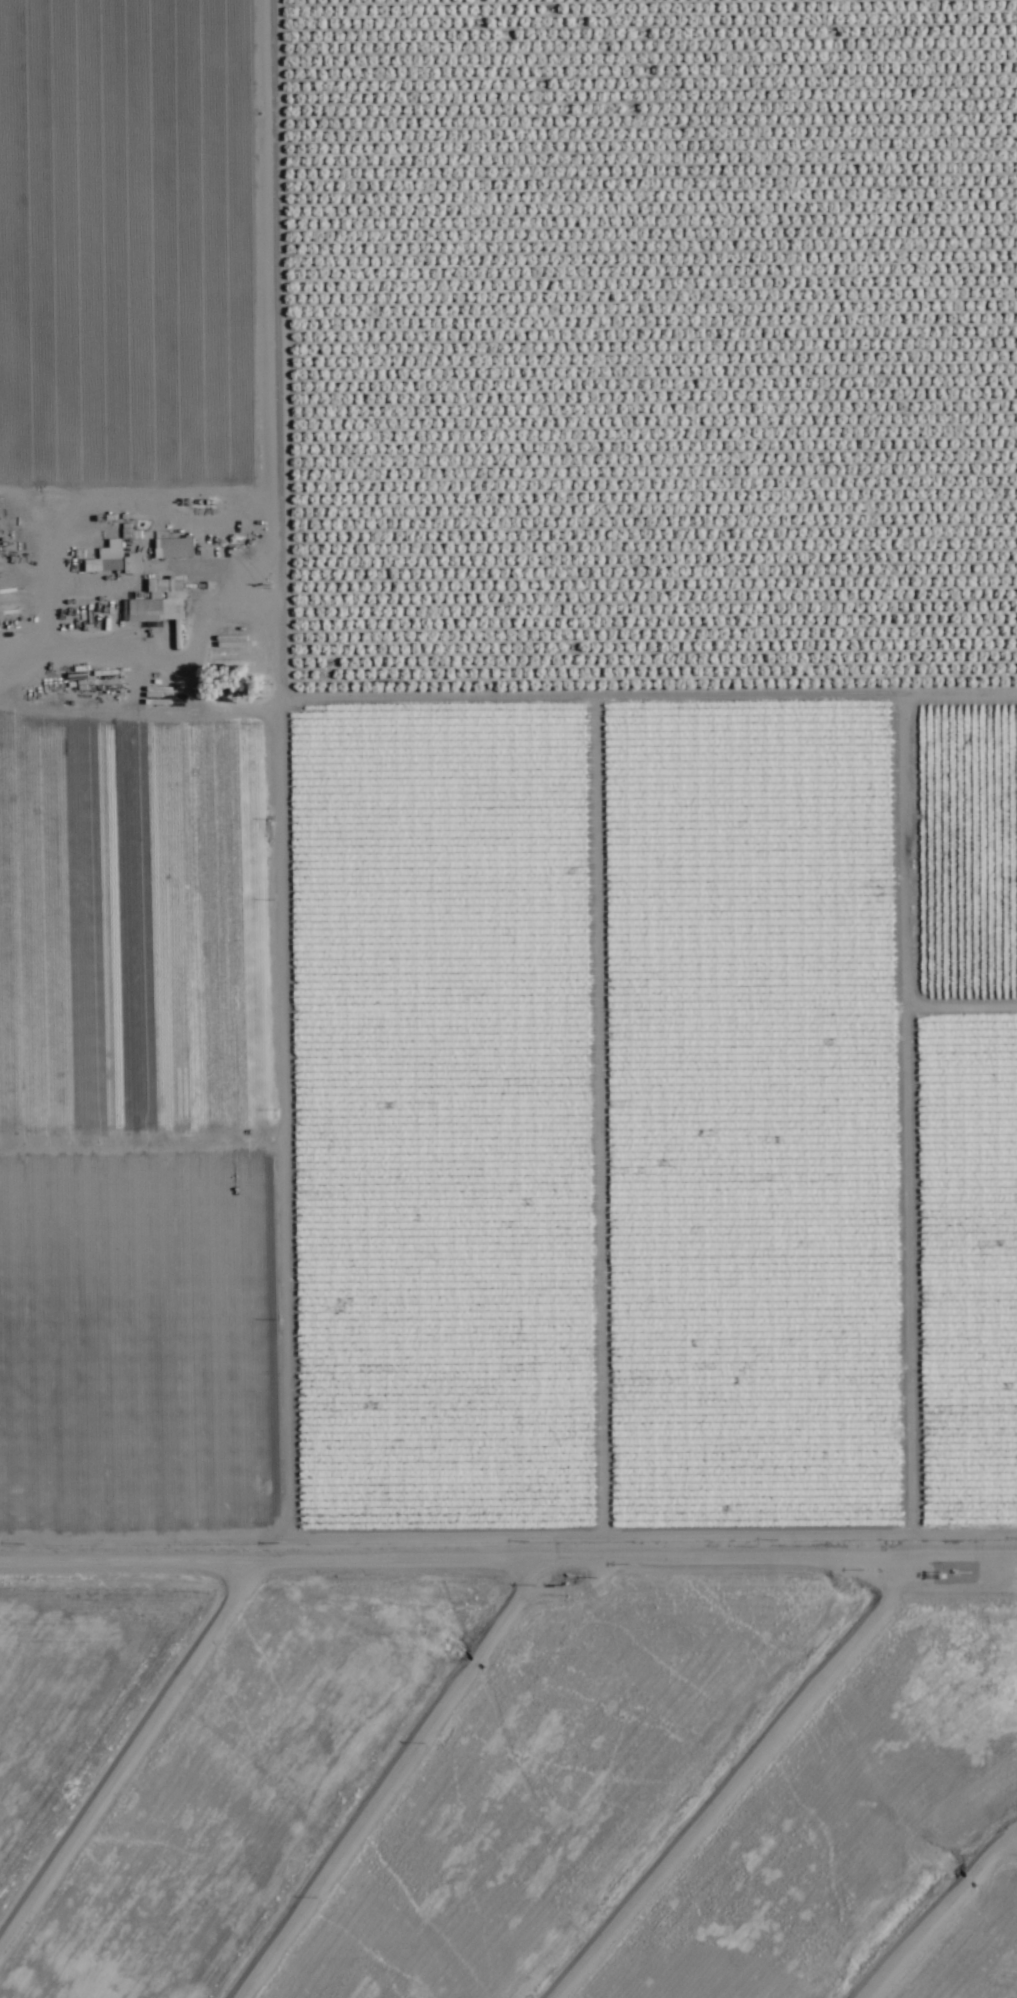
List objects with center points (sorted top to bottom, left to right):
building: (118, 561)
building: (160, 601)
road: (508, 673)
road: (242, 723)
crop: (508, 765)

